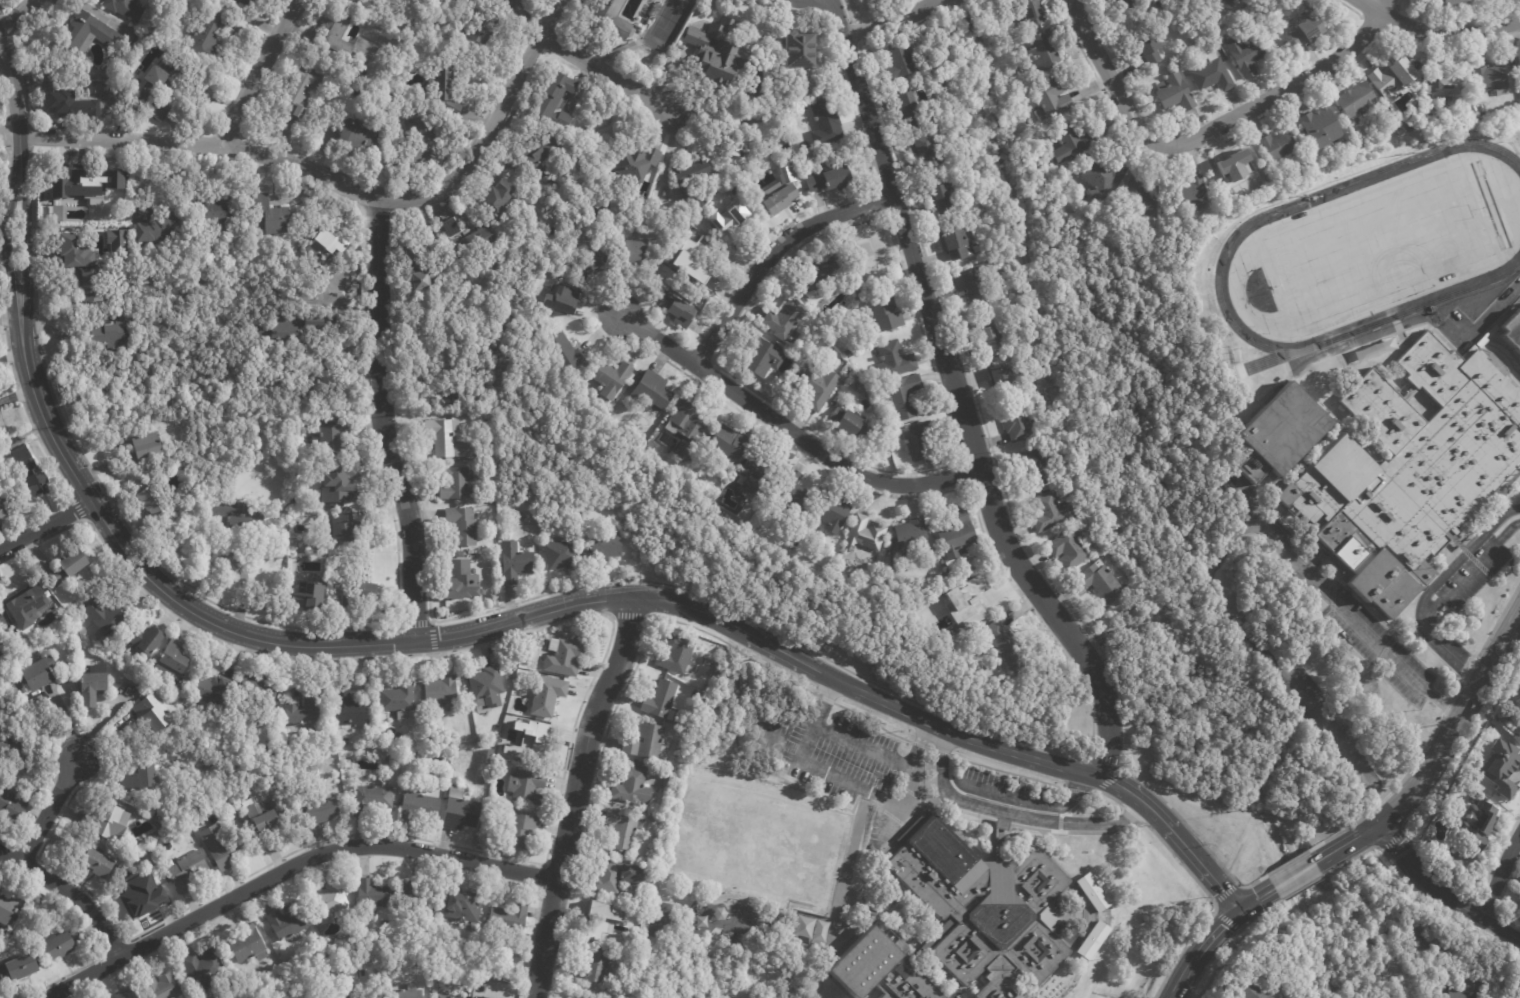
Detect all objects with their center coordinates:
road: (938, 0)
building: (1229, 1)
building: (1163, 2)
building: (1446, 2)
building: (250, 3)
building: (1128, 3)
building: (377, 5)
building: (125, 8)
building: (656, 10)
building: (1037, 11)
road: (15, 15)
building: (613, 18)
road: (892, 20)
building: (476, 25)
road: (1441, 25)
building: (1307, 30)
building: (207, 35)
building: (89, 36)
building: (340, 38)
building: (764, 40)
building: (1214, 46)
building: (1145, 47)
building: (801, 49)
building: (624, 50)
building: (720, 50)
building: (1046, 50)
building: (1243, 54)
building: (903, 61)
building: (1518, 69)
road: (258, 71)
road: (606, 73)
building: (1210, 73)
building: (1390, 76)
building: (1490, 78)
building: (1444, 85)
building: (446, 90)
building: (158, 91)
building: (302, 91)
building: (1173, 93)
building: (94, 95)
building: (1056, 99)
building: (558, 101)
building: (1356, 102)
road: (15, 105)
building: (913, 110)
building: (826, 123)
building: (1319, 127)
road: (489, 129)
road: (1210, 130)
building: (361, 137)
building: (420, 138)
building: (738, 141)
road: (201, 142)
building: (1074, 142)
building: (1273, 146)
building: (931, 150)
building: (538, 158)
building: (633, 165)
building: (1236, 168)
building: (1104, 178)
building: (693, 179)
building: (832, 179)
building: (78, 185)
building: (1188, 193)
building: (569, 195)
building: (1140, 196)
building: (498, 198)
building: (781, 198)
building: (942, 199)
building: (603, 207)
building: (218, 210)
building: (269, 215)
building: (733, 222)
building: (157, 225)
building: (454, 228)
building: (487, 238)
road: (9, 240)
road: (27, 240)
building: (120, 243)
building: (330, 243)
building: (961, 244)
park: (1378, 246)
road: (776, 249)
building: (77, 251)
building: (638, 254)
building: (700, 255)
building: (879, 255)
park: (1225, 256)
building: (598, 259)
building: (423, 267)
building: (826, 271)
road: (377, 281)
building: (89, 283)
building: (978, 283)
building: (566, 299)
building: (680, 310)
road: (1489, 311)
road: (10, 313)
building: (886, 313)
building: (787, 320)
building: (317, 323)
building: (279, 330)
building: (115, 335)
building: (993, 335)
building: (848, 353)
building: (565, 356)
building: (764, 357)
building: (895, 362)
road: (380, 375)
building: (614, 378)
building: (1003, 379)
building: (820, 387)
building: (654, 391)
road: (962, 395)
road: (17, 396)
building: (907, 397)
building: (1019, 423)
building: (852, 424)
building: (689, 429)
road: (798, 432)
building: (1279, 432)
building: (334, 435)
building: (445, 436)
building: (921, 441)
building: (730, 446)
building: (145, 449)
building: (1417, 464)
building: (1039, 466)
building: (31, 472)
building: (759, 476)
building: (336, 478)
building: (456, 484)
building: (793, 494)
building: (150, 497)
building: (5, 505)
road: (407, 511)
building: (1056, 513)
building: (834, 514)
building: (241, 516)
building: (515, 518)
road: (46, 526)
building: (464, 527)
building: (343, 530)
building: (751, 530)
building: (866, 535)
building: (912, 535)
building: (959, 536)
building: (607, 547)
building: (1073, 550)
building: (461, 555)
building: (563, 555)
building: (516, 563)
building: (68, 569)
building: (1102, 581)
building: (462, 582)
building: (311, 595)
road: (1439, 597)
building: (363, 598)
building: (981, 599)
road: (580, 602)
building: (28, 608)
building: (105, 618)
building: (2, 624)
road: (1363, 625)
building: (146, 639)
building: (1008, 646)
building: (677, 654)
building: (565, 658)
building: (174, 660)
building: (36, 677)
building: (489, 687)
building: (93, 690)
building: (215, 691)
building: (441, 693)
building: (260, 695)
building: (548, 697)
building: (400, 699)
building: (664, 701)
building: (1516, 705)
building: (350, 708)
building: (305, 711)
building: (155, 714)
road: (1455, 726)
building: (1, 727)
road: (837, 737)
building: (534, 740)
building: (5, 744)
building: (649, 744)
road: (920, 744)
building: (392, 762)
building: (348, 764)
building: (1500, 767)
building: (142, 779)
building: (488, 779)
road: (853, 782)
building: (632, 785)
building: (527, 788)
road: (590, 797)
building: (372, 801)
road: (1203, 803)
road: (1031, 804)
building: (11, 807)
building: (420, 808)
road: (48, 811)
building: (461, 812)
building: (324, 814)
road: (1014, 814)
road: (1269, 816)
building: (107, 822)
building: (267, 824)
building: (1005, 824)
building: (1475, 825)
road: (1188, 827)
building: (624, 829)
building: (521, 831)
road: (1353, 842)
road: (1241, 844)
building: (223, 847)
building: (653, 852)
road: (1301, 853)
road: (295, 859)
building: (99, 865)
building: (186, 871)
building: (616, 875)
road: (1293, 878)
road: (1501, 879)
road: (69, 892)
building: (1091, 893)
road: (1441, 893)
building: (376, 894)
building: (147, 895)
building: (331, 901)
building: (421, 901)
building: (465, 906)
building: (7, 909)
traffic signals: (1240, 912)
building: (509, 919)
building: (966, 921)
building: (287, 922)
building: (606, 923)
building: (1087, 934)
building: (1421, 935)
road: (1210, 943)
building: (249, 945)
building: (64, 946)
building: (596, 966)
building: (204, 968)
building: (18, 970)
building: (469, 983)
building: (1464, 985)
building: (162, 987)
building: (1247, 990)
building: (405, 993)
building: (1056, 993)
building: (1516, 993)
building: (127, 994)
building: (352, 995)
building: (445, 996)
building: (371, 997)

